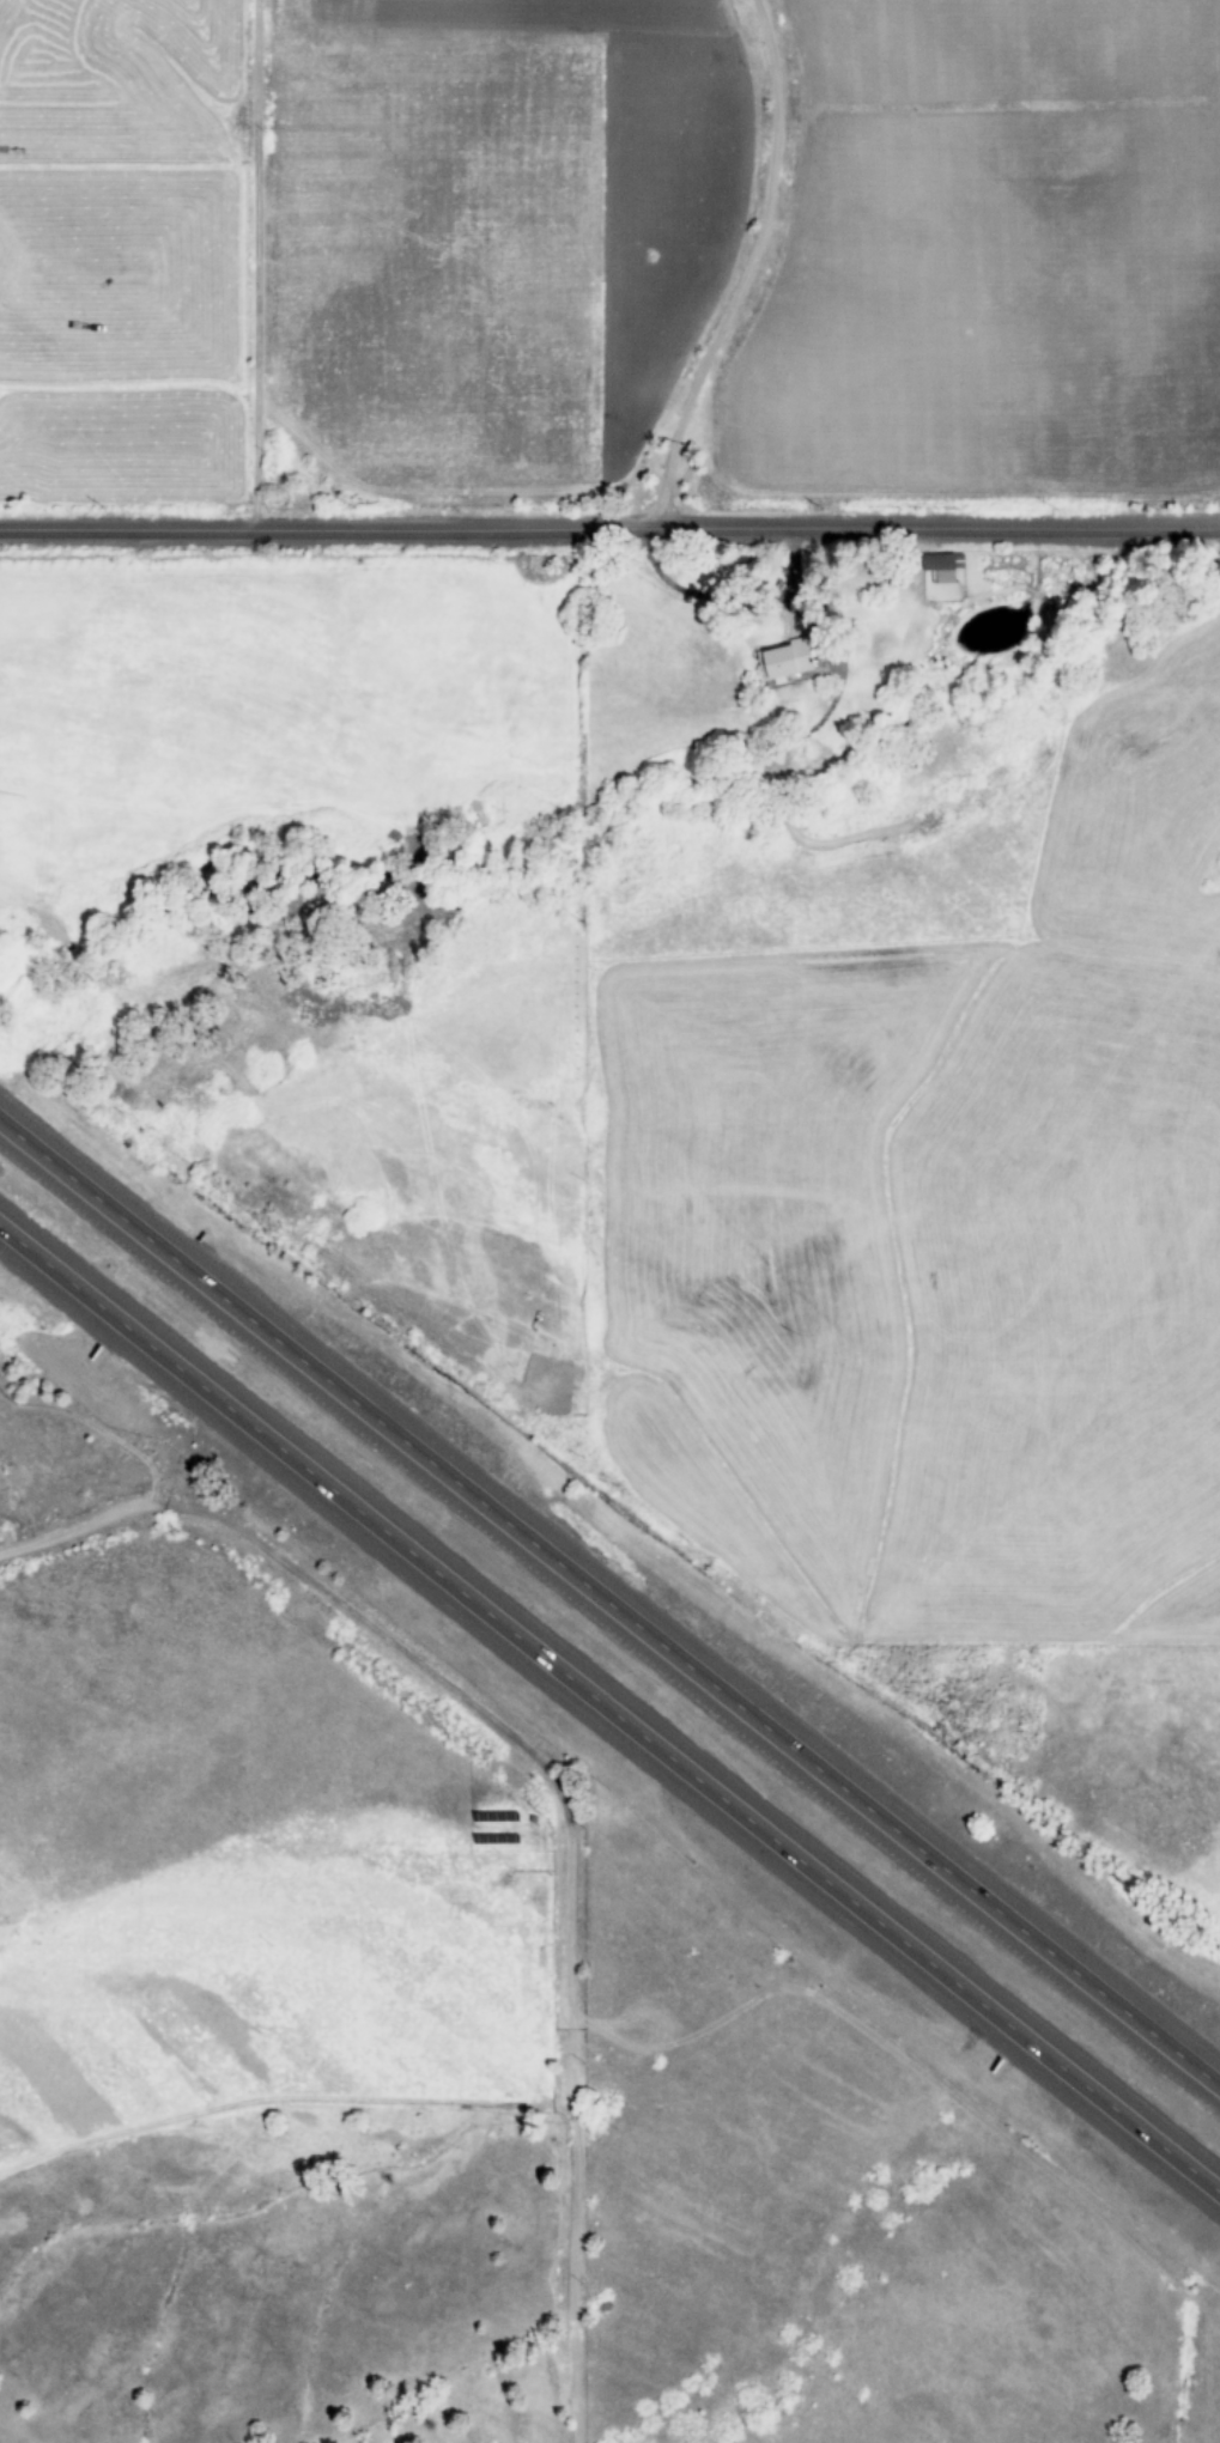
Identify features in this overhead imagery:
crop: (894, 253)
road: (261, 266)
road: (748, 269)
road: (609, 530)
building: (943, 567)
building: (785, 661)
road: (87, 1526)
road: (611, 1604)
road: (392, 1642)
road: (609, 1708)
road: (573, 2133)

